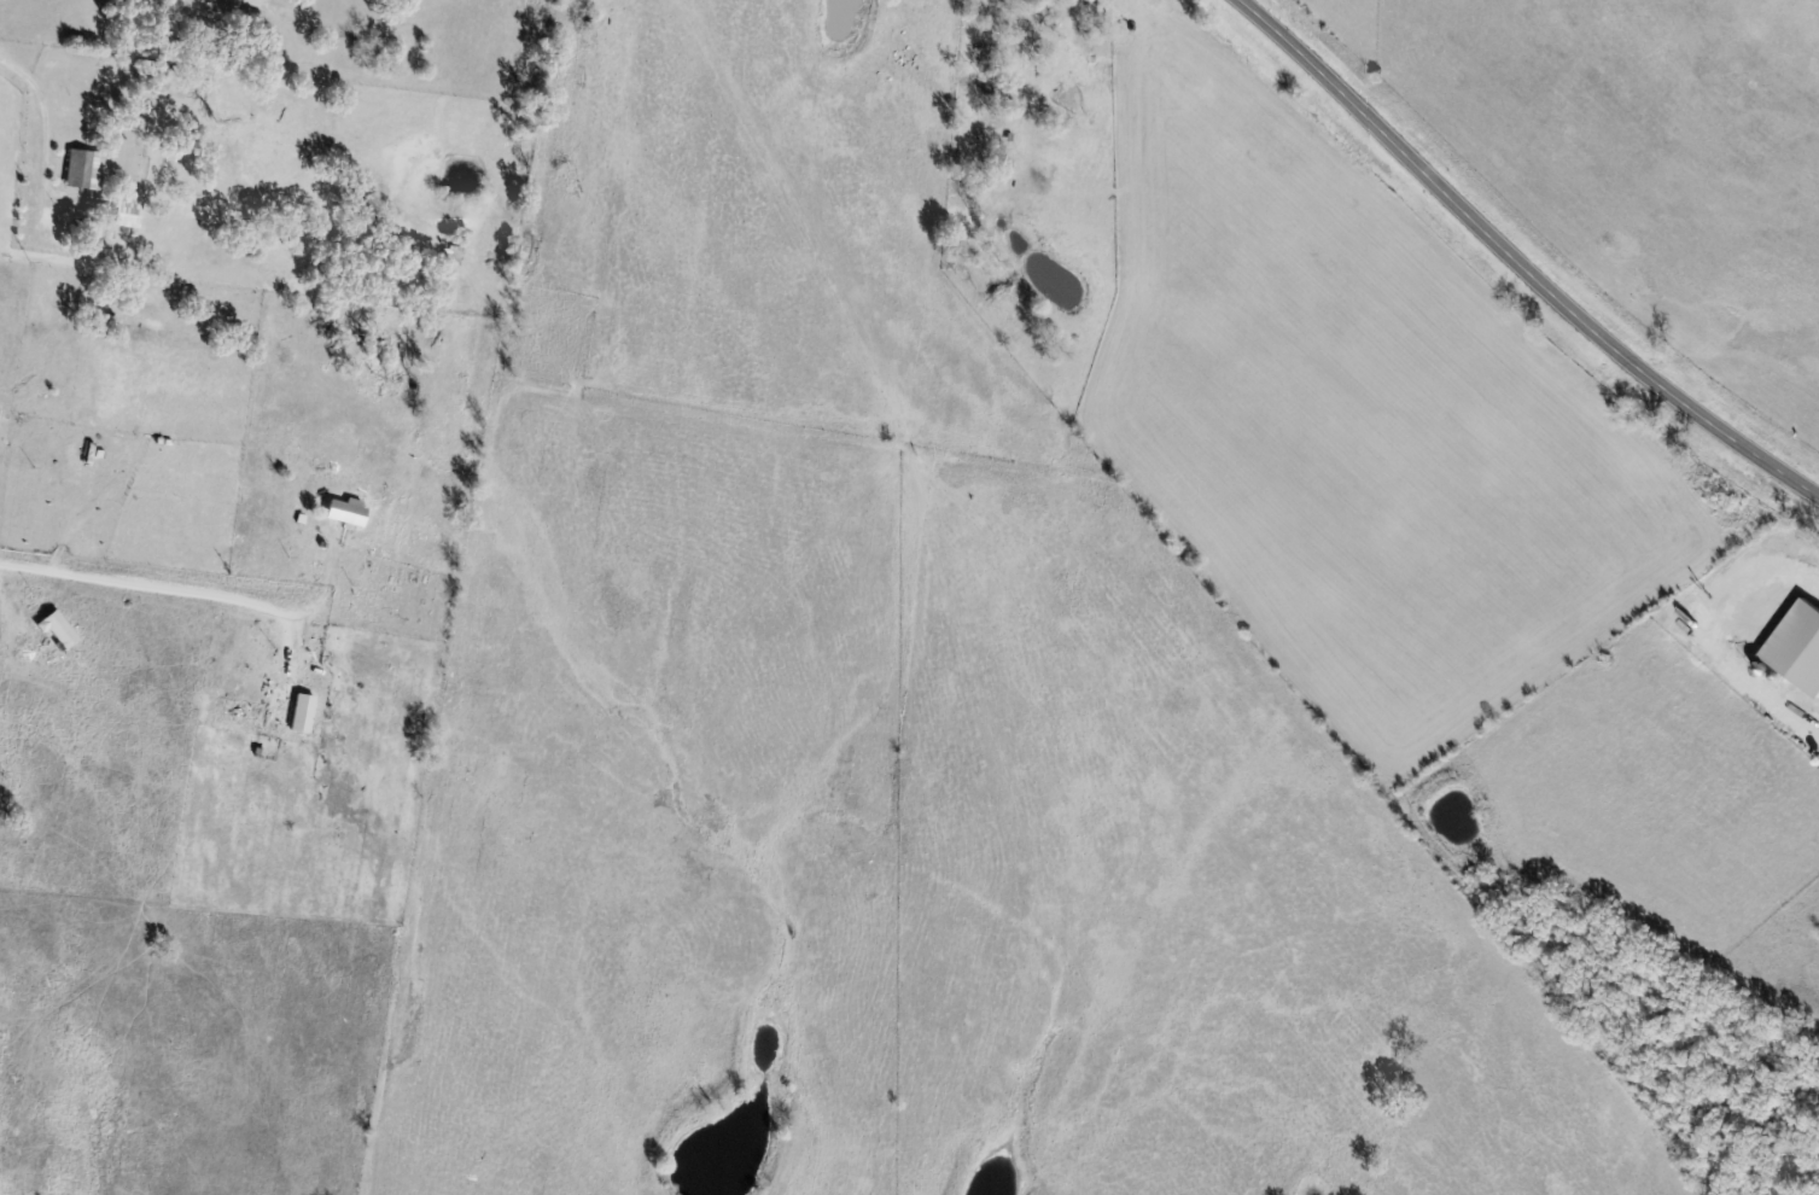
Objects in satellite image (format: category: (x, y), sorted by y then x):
building: (77, 170)
road: (1515, 263)
building: (344, 512)
road: (167, 589)
building: (389, 589)
building: (57, 631)
building: (301, 713)

